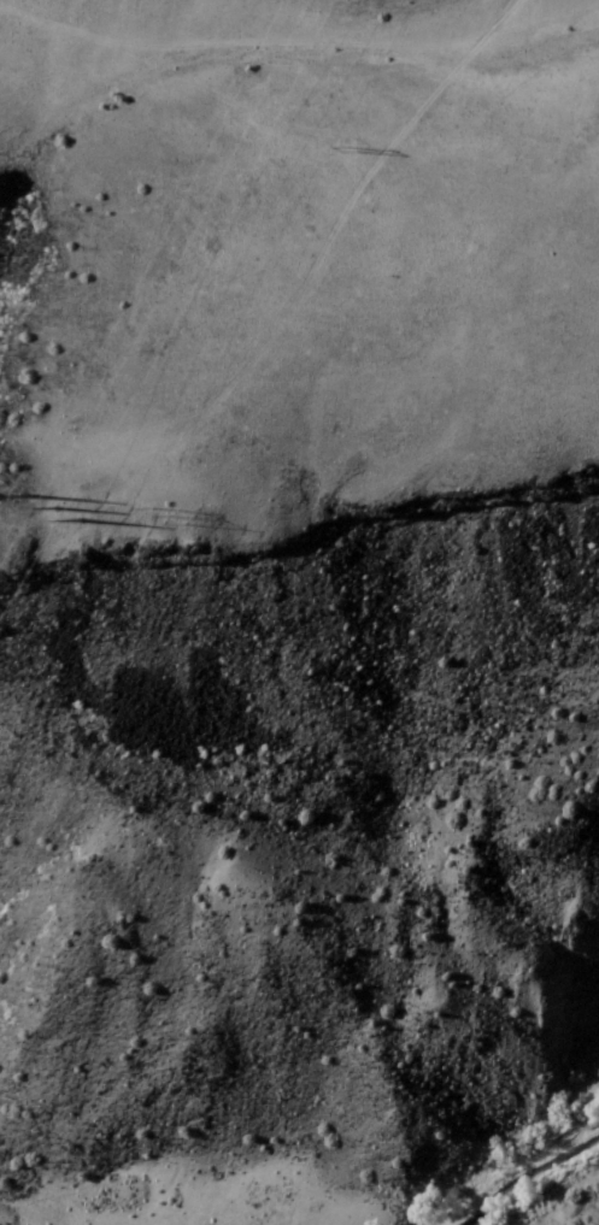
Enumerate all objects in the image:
road: (523, 6)
road: (264, 42)
road: (240, 181)
power tower: (70, 508)
power tower: (177, 519)
road: (583, 1202)

